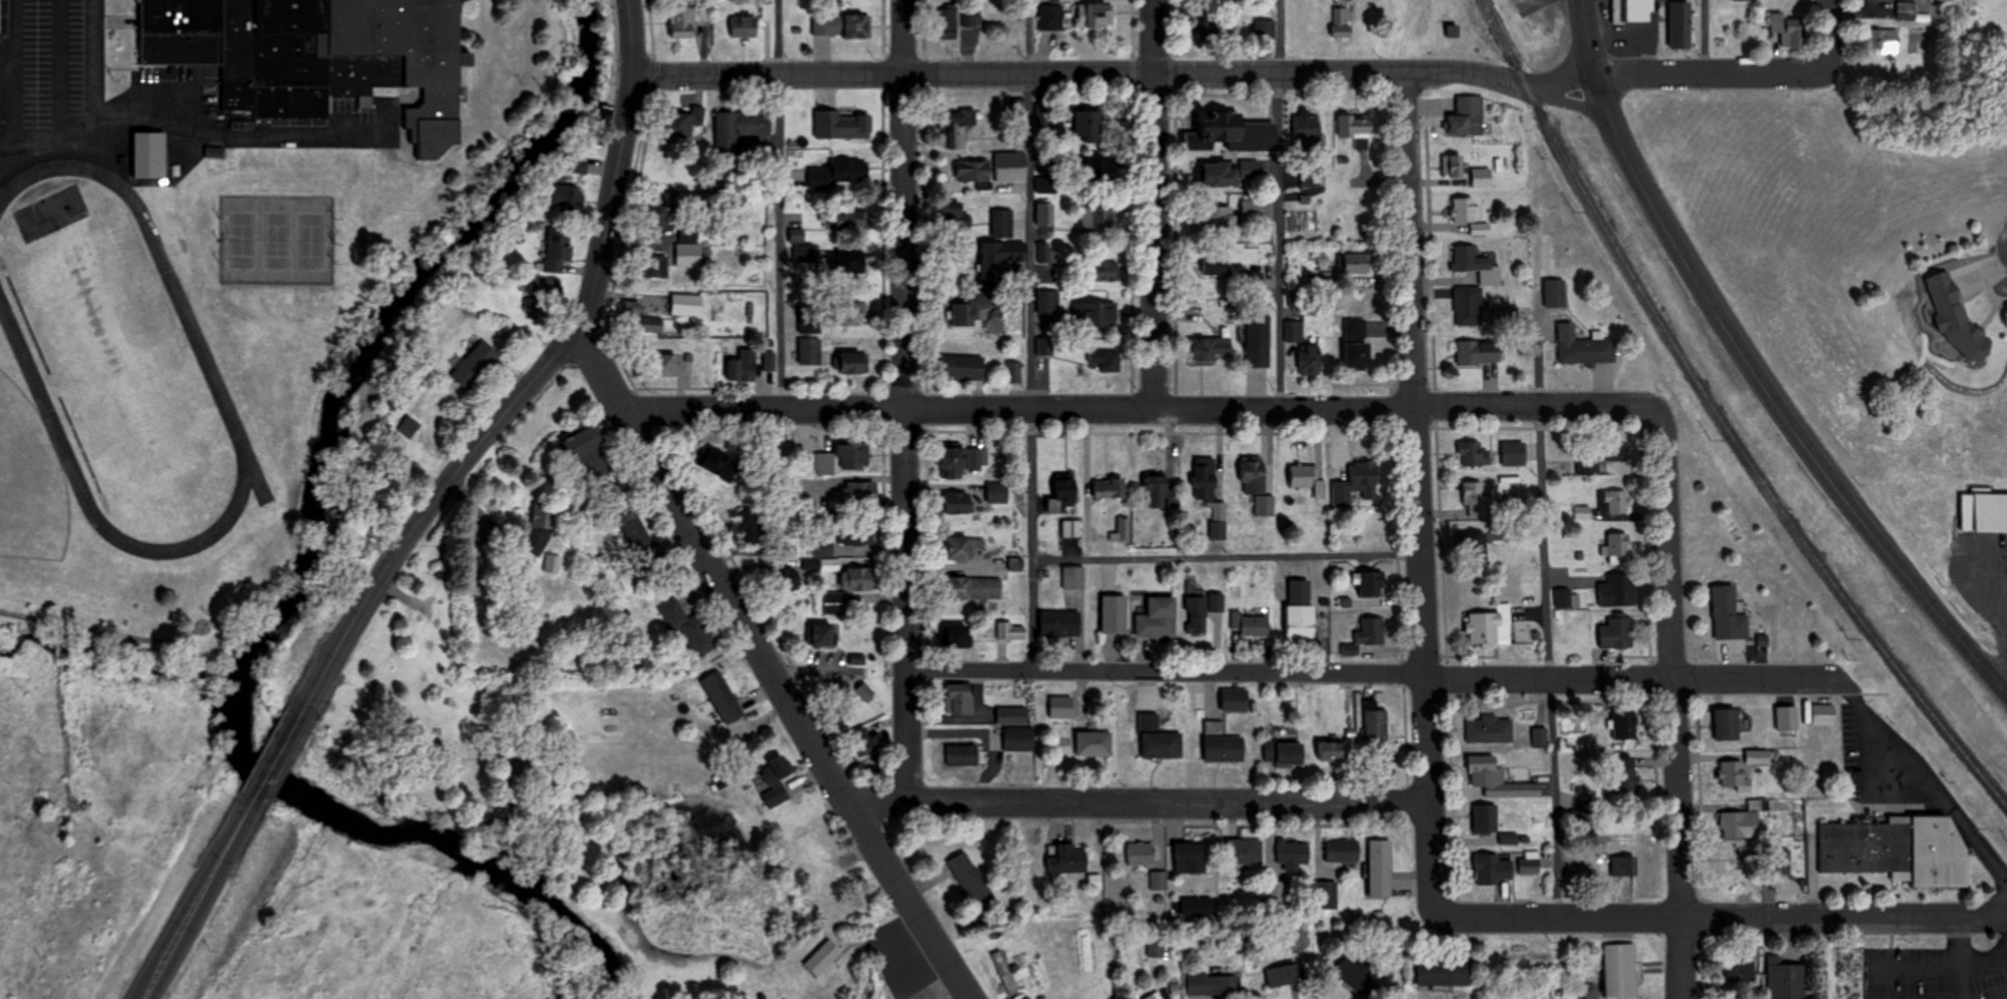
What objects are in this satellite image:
building: (1362, 0)
building: (1741, 0)
building: (1905, 10)
building: (1639, 11)
building: (1100, 16)
building: (1050, 17)
building: (971, 18)
building: (682, 22)
building: (947, 22)
building: (1680, 24)
building: (842, 26)
building: (744, 27)
building: (1265, 29)
building: (1787, 30)
road: (1706, 37)
road: (1821, 37)
building: (1881, 40)
building: (297, 45)
road: (1228, 72)
road: (58, 75)
road: (1578, 103)
building: (1467, 115)
building: (685, 121)
building: (855, 125)
building: (1088, 126)
building: (738, 129)
building: (956, 129)
building: (1306, 129)
building: (1357, 129)
building: (1232, 132)
road: (55, 150)
road: (7, 154)
building: (150, 154)
building: (1010, 158)
building: (577, 163)
road: (626, 165)
building: (1453, 165)
building: (1097, 169)
building: (850, 170)
building: (974, 171)
building: (1221, 173)
building: (1481, 177)
building: (568, 199)
road: (777, 202)
road: (1151, 203)
road: (1281, 203)
building: (1252, 209)
building: (1465, 209)
building: (1098, 217)
building: (852, 219)
building: (1219, 219)
building: (1002, 223)
building: (1480, 228)
building: (688, 234)
park: (242, 239)
park: (276, 239)
park: (311, 240)
building: (1046, 252)
building: (688, 255)
building: (842, 263)
building: (1217, 263)
building: (1356, 263)
building: (1477, 263)
building: (657, 266)
building: (1105, 271)
building: (1251, 281)
building: (1048, 301)
building: (687, 304)
building: (1469, 305)
building: (975, 307)
building: (848, 312)
building: (1095, 313)
building: (642, 321)
building: (1959, 323)
building: (1294, 331)
road: (1031, 336)
building: (1258, 341)
building: (1358, 343)
building: (1045, 345)
building: (1211, 349)
building: (1588, 349)
building: (809, 351)
building: (1479, 351)
building: (1312, 358)
building: (1105, 359)
road: (1743, 359)
building: (853, 363)
building: (474, 365)
building: (664, 365)
building: (962, 367)
building: (741, 368)
building: (1014, 372)
road: (904, 402)
road: (1139, 406)
railway: (1713, 423)
building: (408, 427)
road: (1414, 436)
building: (582, 440)
building: (1611, 452)
building: (1473, 453)
building: (843, 457)
building: (1588, 459)
building: (954, 460)
building: (718, 462)
building: (1307, 478)
building: (1204, 482)
building: (1357, 483)
building: (1257, 485)
building: (1109, 487)
building: (861, 490)
building: (998, 491)
building: (1066, 491)
building: (1162, 492)
building: (1473, 497)
building: (959, 500)
building: (1613, 501)
road: (426, 511)
building: (1988, 511)
building: (1583, 512)
building: (1219, 523)
building: (752, 525)
building: (1072, 527)
building: (633, 528)
building: (1122, 529)
building: (856, 531)
building: (823, 546)
building: (966, 546)
building: (1473, 546)
building: (1616, 546)
road: (1225, 556)
building: (1016, 563)
building: (1073, 576)
building: (786, 577)
building: (857, 577)
building: (1370, 582)
building: (973, 586)
building: (1616, 590)
building: (1216, 601)
building: (832, 602)
road: (1547, 602)
building: (1115, 612)
building: (1196, 613)
building: (1728, 613)
building: (1158, 617)
building: (1304, 620)
building: (1060, 622)
building: (1251, 623)
building: (688, 626)
building: (1488, 626)
building: (1369, 630)
building: (1616, 631)
building: (824, 633)
building: (955, 635)
road: (767, 664)
road: (1309, 673)
road: (1997, 675)
road: (1997, 686)
building: (722, 696)
building: (960, 698)
building: (1234, 698)
road: (1670, 701)
building: (1061, 706)
building: (1012, 714)
building: (1373, 721)
building: (1726, 723)
building: (1622, 724)
building: (1486, 728)
building: (1536, 736)
building: (1019, 738)
building: (862, 741)
building: (1093, 742)
building: (1161, 743)
building: (1223, 747)
building: (1330, 749)
building: (1283, 751)
building: (964, 754)
road: (271, 763)
building: (1624, 773)
building: (1732, 776)
building: (1494, 777)
building: (772, 780)
road: (1924, 780)
road: (1133, 803)
building: (1482, 817)
building: (1897, 848)
building: (1340, 849)
building: (1242, 851)
building: (1290, 851)
building: (1138, 853)
building: (1188, 857)
building: (821, 858)
building: (1067, 858)
road: (1427, 858)
building: (1527, 861)
building: (1777, 861)
building: (1622, 864)
building: (1378, 867)
building: (1490, 868)
building: (970, 878)
building: (1323, 894)
road: (194, 903)
building: (1195, 905)
road: (1724, 918)
building: (1738, 968)
building: (1620, 969)
building: (1006, 972)
building: (1443, 972)
building: (1282, 974)
building: (1355, 976)
building: (1783, 978)
building: (1211, 984)
building: (1151, 996)

